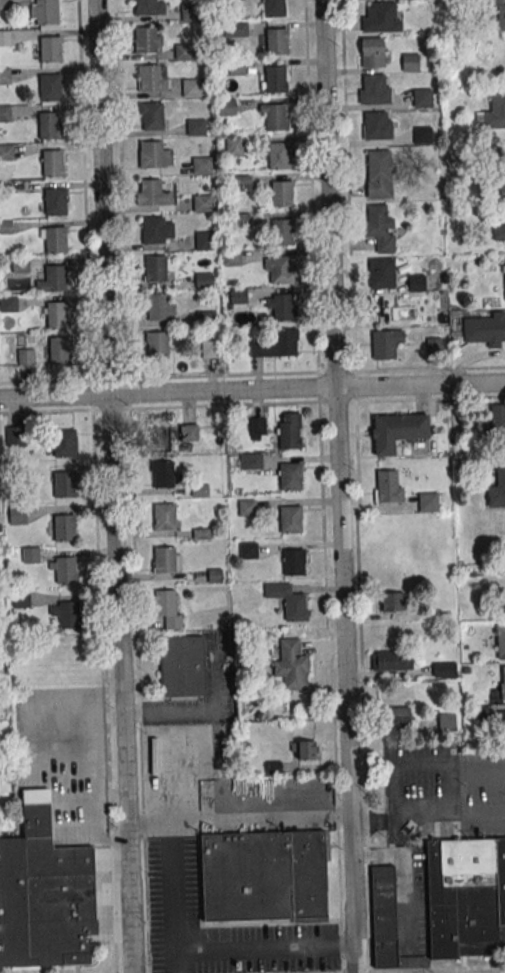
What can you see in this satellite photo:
building: (234, 0)
building: (2, 5)
building: (144, 7)
building: (272, 8)
building: (45, 12)
building: (189, 13)
building: (381, 17)
building: (501, 20)
building: (235, 29)
building: (5, 38)
building: (144, 40)
building: (275, 42)
building: (49, 50)
building: (182, 52)
building: (371, 53)
building: (409, 63)
building: (235, 67)
building: (4, 76)
building: (148, 78)
building: (274, 79)
building: (48, 87)
building: (190, 88)
building: (373, 91)
building: (421, 98)
building: (226, 107)
building: (4, 113)
building: (493, 113)
building: (151, 116)
building: (274, 117)
building: (47, 125)
building: (376, 126)
building: (195, 127)
building: (421, 135)
building: (233, 146)
building: (6, 152)
building: (150, 154)
building: (277, 156)
building: (51, 163)
building: (200, 165)
building: (502, 171)
building: (380, 173)
building: (243, 183)
building: (149, 192)
building: (280, 194)
building: (54, 202)
building: (201, 204)
building: (375, 218)
building: (241, 220)
building: (152, 230)
building: (280, 233)
building: (499, 233)
building: (54, 240)
building: (203, 241)
building: (230, 258)
building: (19, 265)
building: (154, 269)
building: (278, 270)
building: (381, 273)
building: (54, 278)
building: (504, 278)
building: (202, 280)
building: (416, 282)
building: (7, 304)
building: (156, 307)
building: (282, 307)
building: (55, 315)
building: (204, 318)
building: (485, 330)
building: (284, 343)
building: (380, 344)
building: (156, 345)
building: (434, 346)
building: (210, 349)
building: (57, 351)
building: (24, 357)
road: (252, 389)
road: (335, 402)
road: (108, 409)
building: (498, 422)
building: (289, 430)
building: (397, 431)
building: (14, 436)
building: (159, 439)
building: (63, 443)
building: (250, 461)
building: (161, 475)
building: (290, 476)
building: (63, 485)
road: (113, 486)
road: (339, 486)
building: (388, 486)
building: (497, 486)
building: (427, 502)
building: (17, 514)
building: (163, 517)
building: (290, 519)
building: (63, 528)
building: (248, 550)
building: (31, 555)
building: (163, 560)
building: (291, 562)
building: (65, 570)
building: (21, 599)
building: (288, 601)
building: (393, 601)
building: (167, 607)
building: (68, 615)
building: (500, 640)
building: (392, 661)
building: (292, 665)
building: (182, 666)
building: (444, 669)
building: (502, 682)
building: (397, 716)
building: (447, 721)
building: (303, 750)
road: (451, 791)
road: (301, 798)
road: (405, 817)
road: (149, 824)
road: (171, 843)
building: (263, 876)
building: (43, 894)
building: (465, 898)
building: (384, 916)
road: (267, 947)
road: (179, 961)
road: (401, 969)

